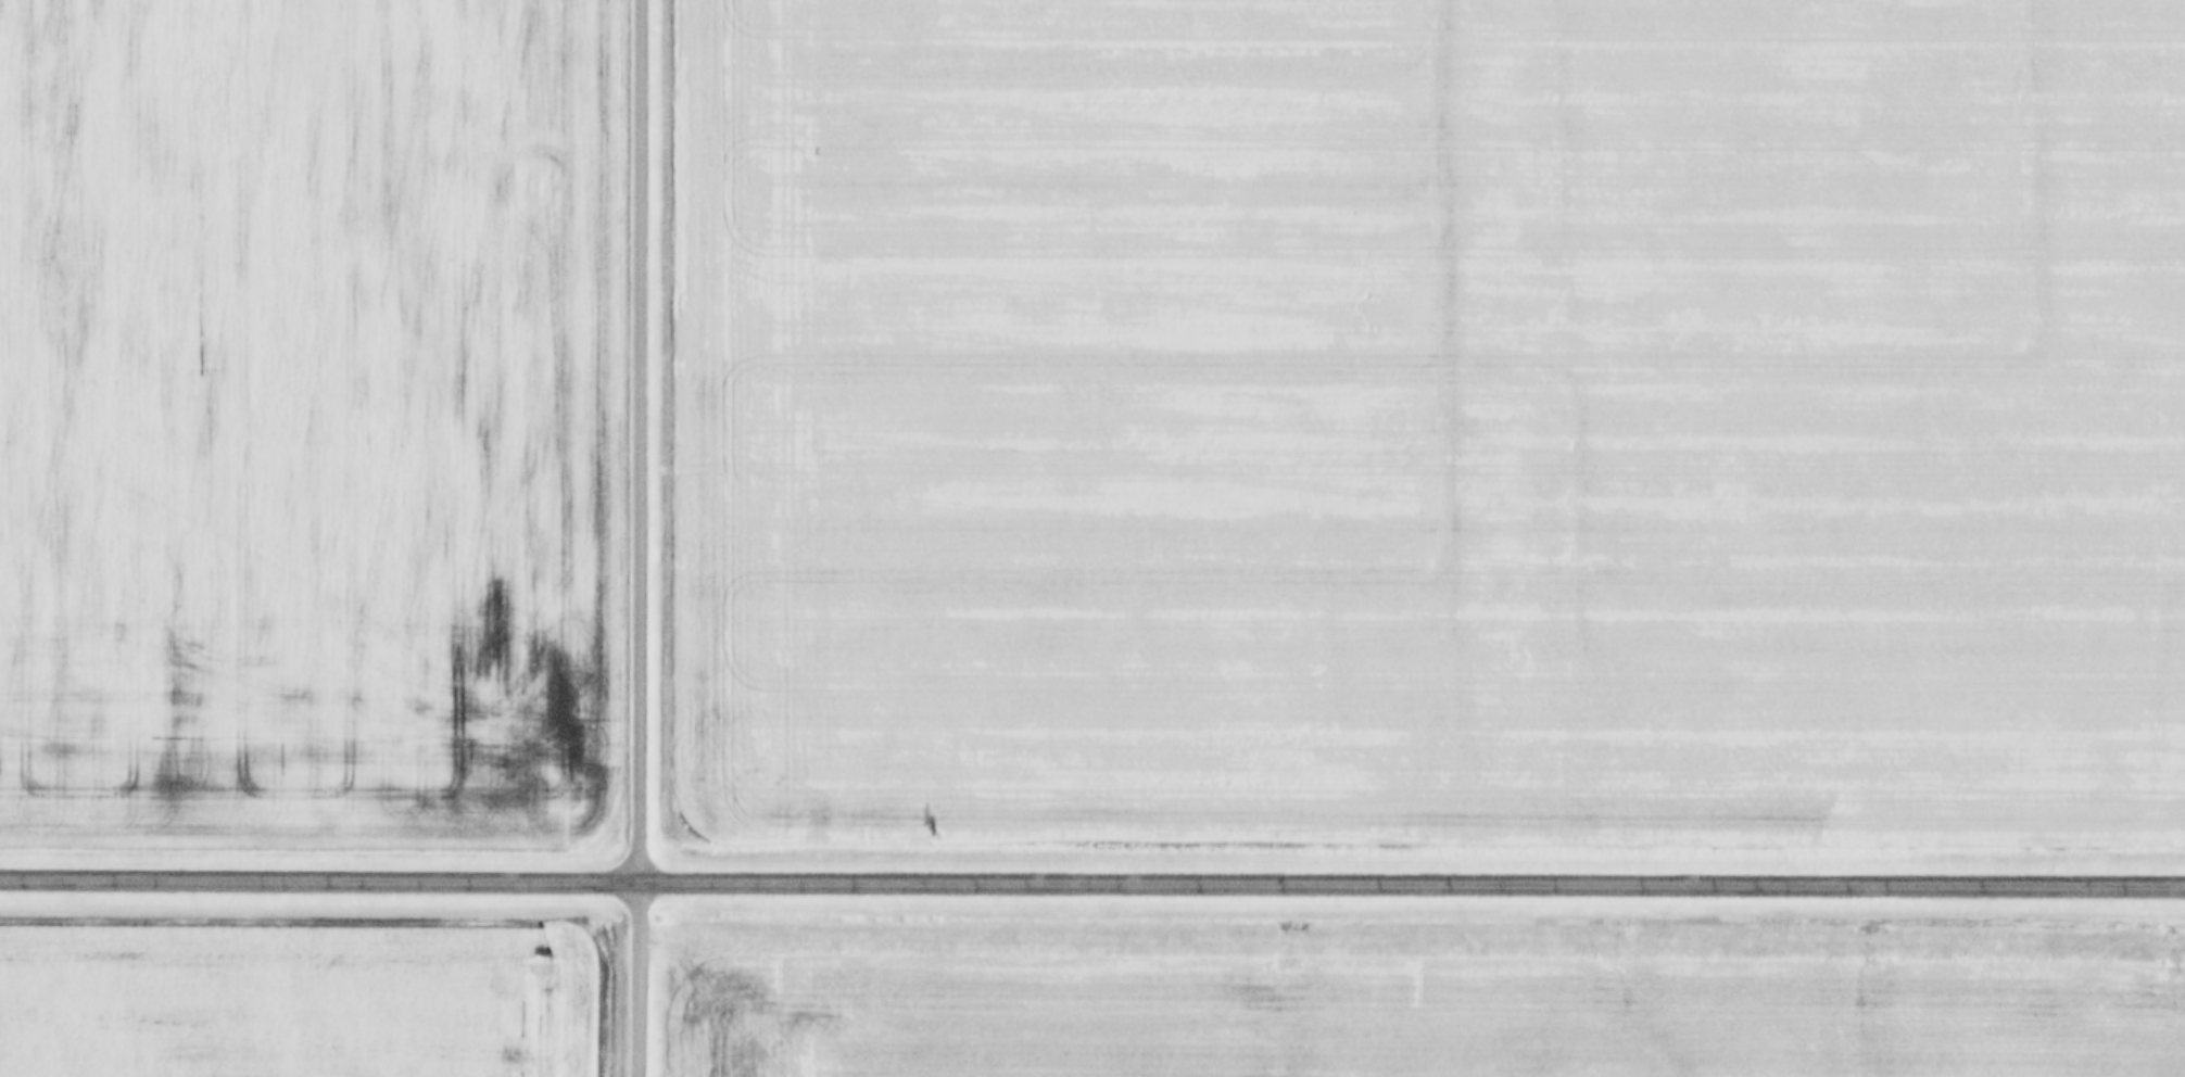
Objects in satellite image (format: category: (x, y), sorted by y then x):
road: (642, 538)
road: (1092, 883)

